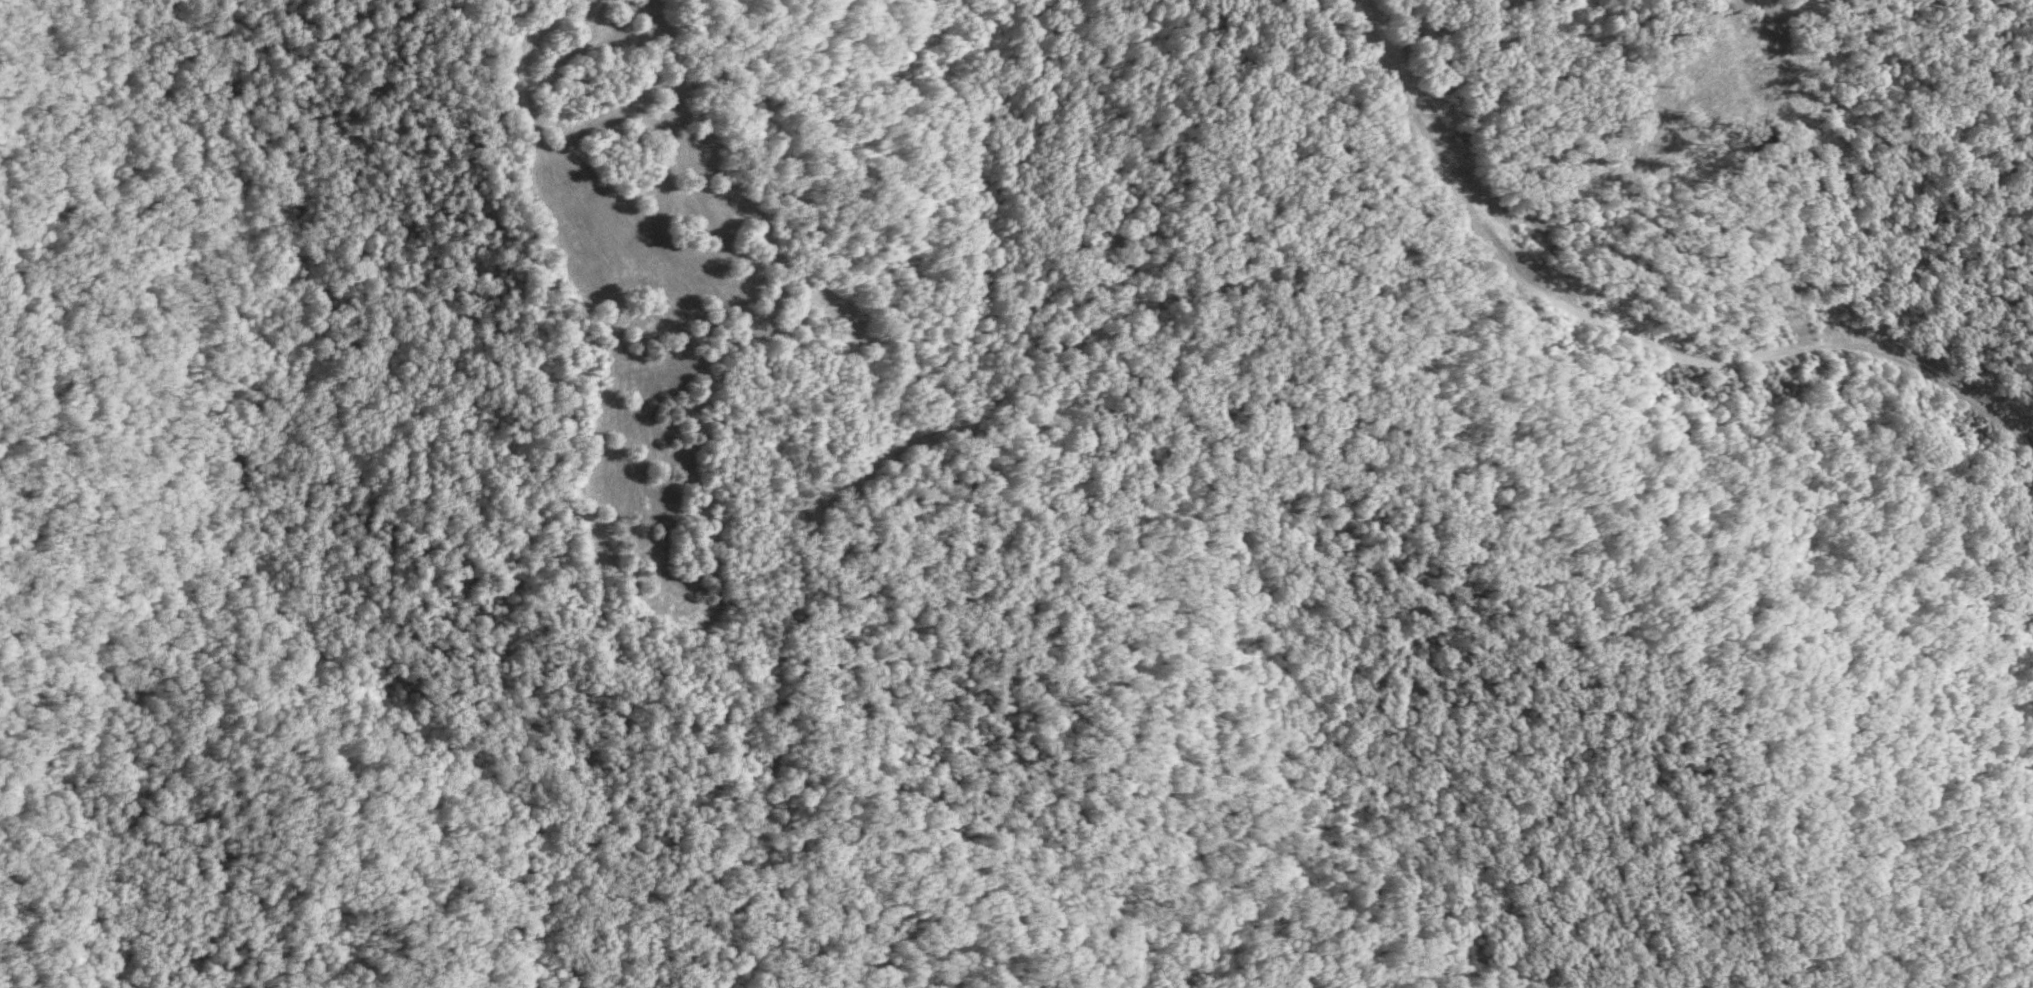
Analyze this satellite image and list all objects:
road: (1623, 347)

